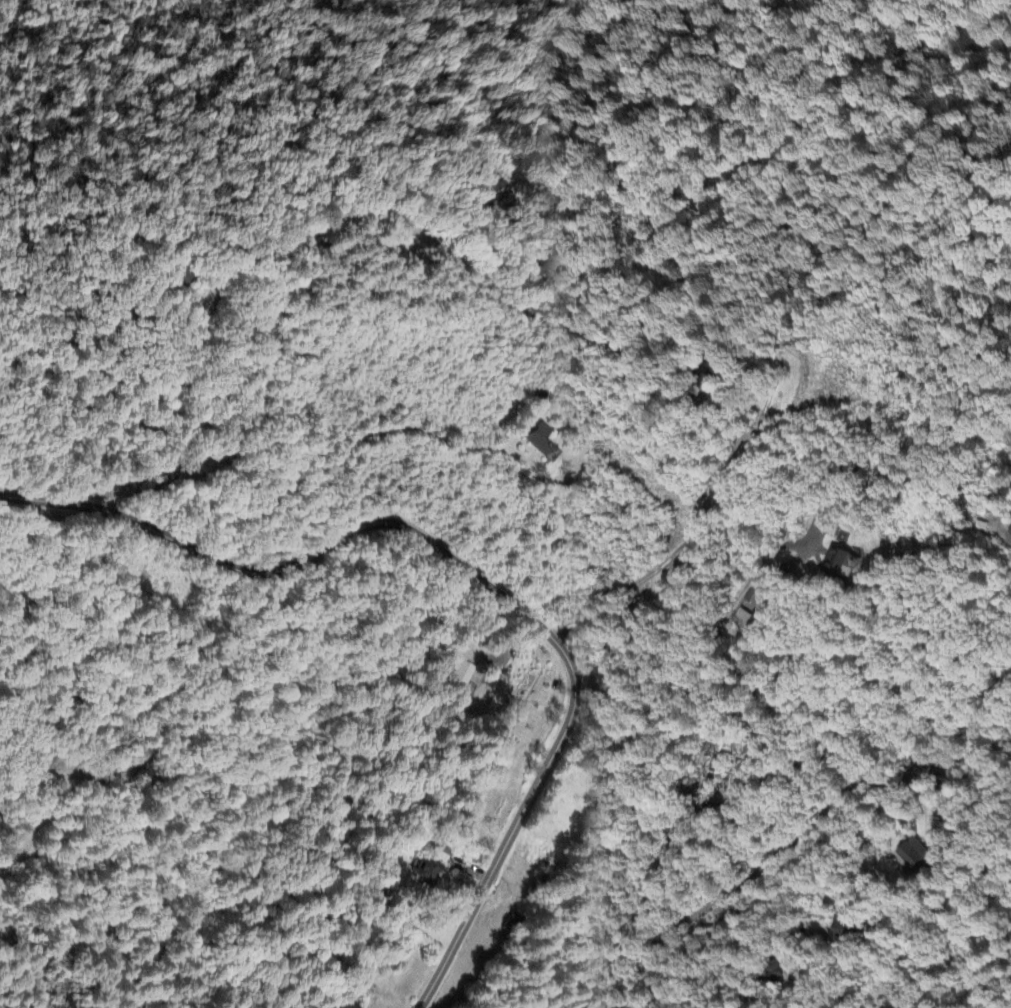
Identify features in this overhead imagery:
building: (490, 185)
road: (525, 256)
road: (766, 406)
building: (542, 439)
road: (353, 450)
road: (744, 549)
building: (845, 561)
road: (471, 575)
building: (761, 599)
building: (463, 666)
road: (935, 773)
road: (806, 831)
building: (917, 854)
building: (427, 872)
building: (848, 931)
building: (345, 1005)

